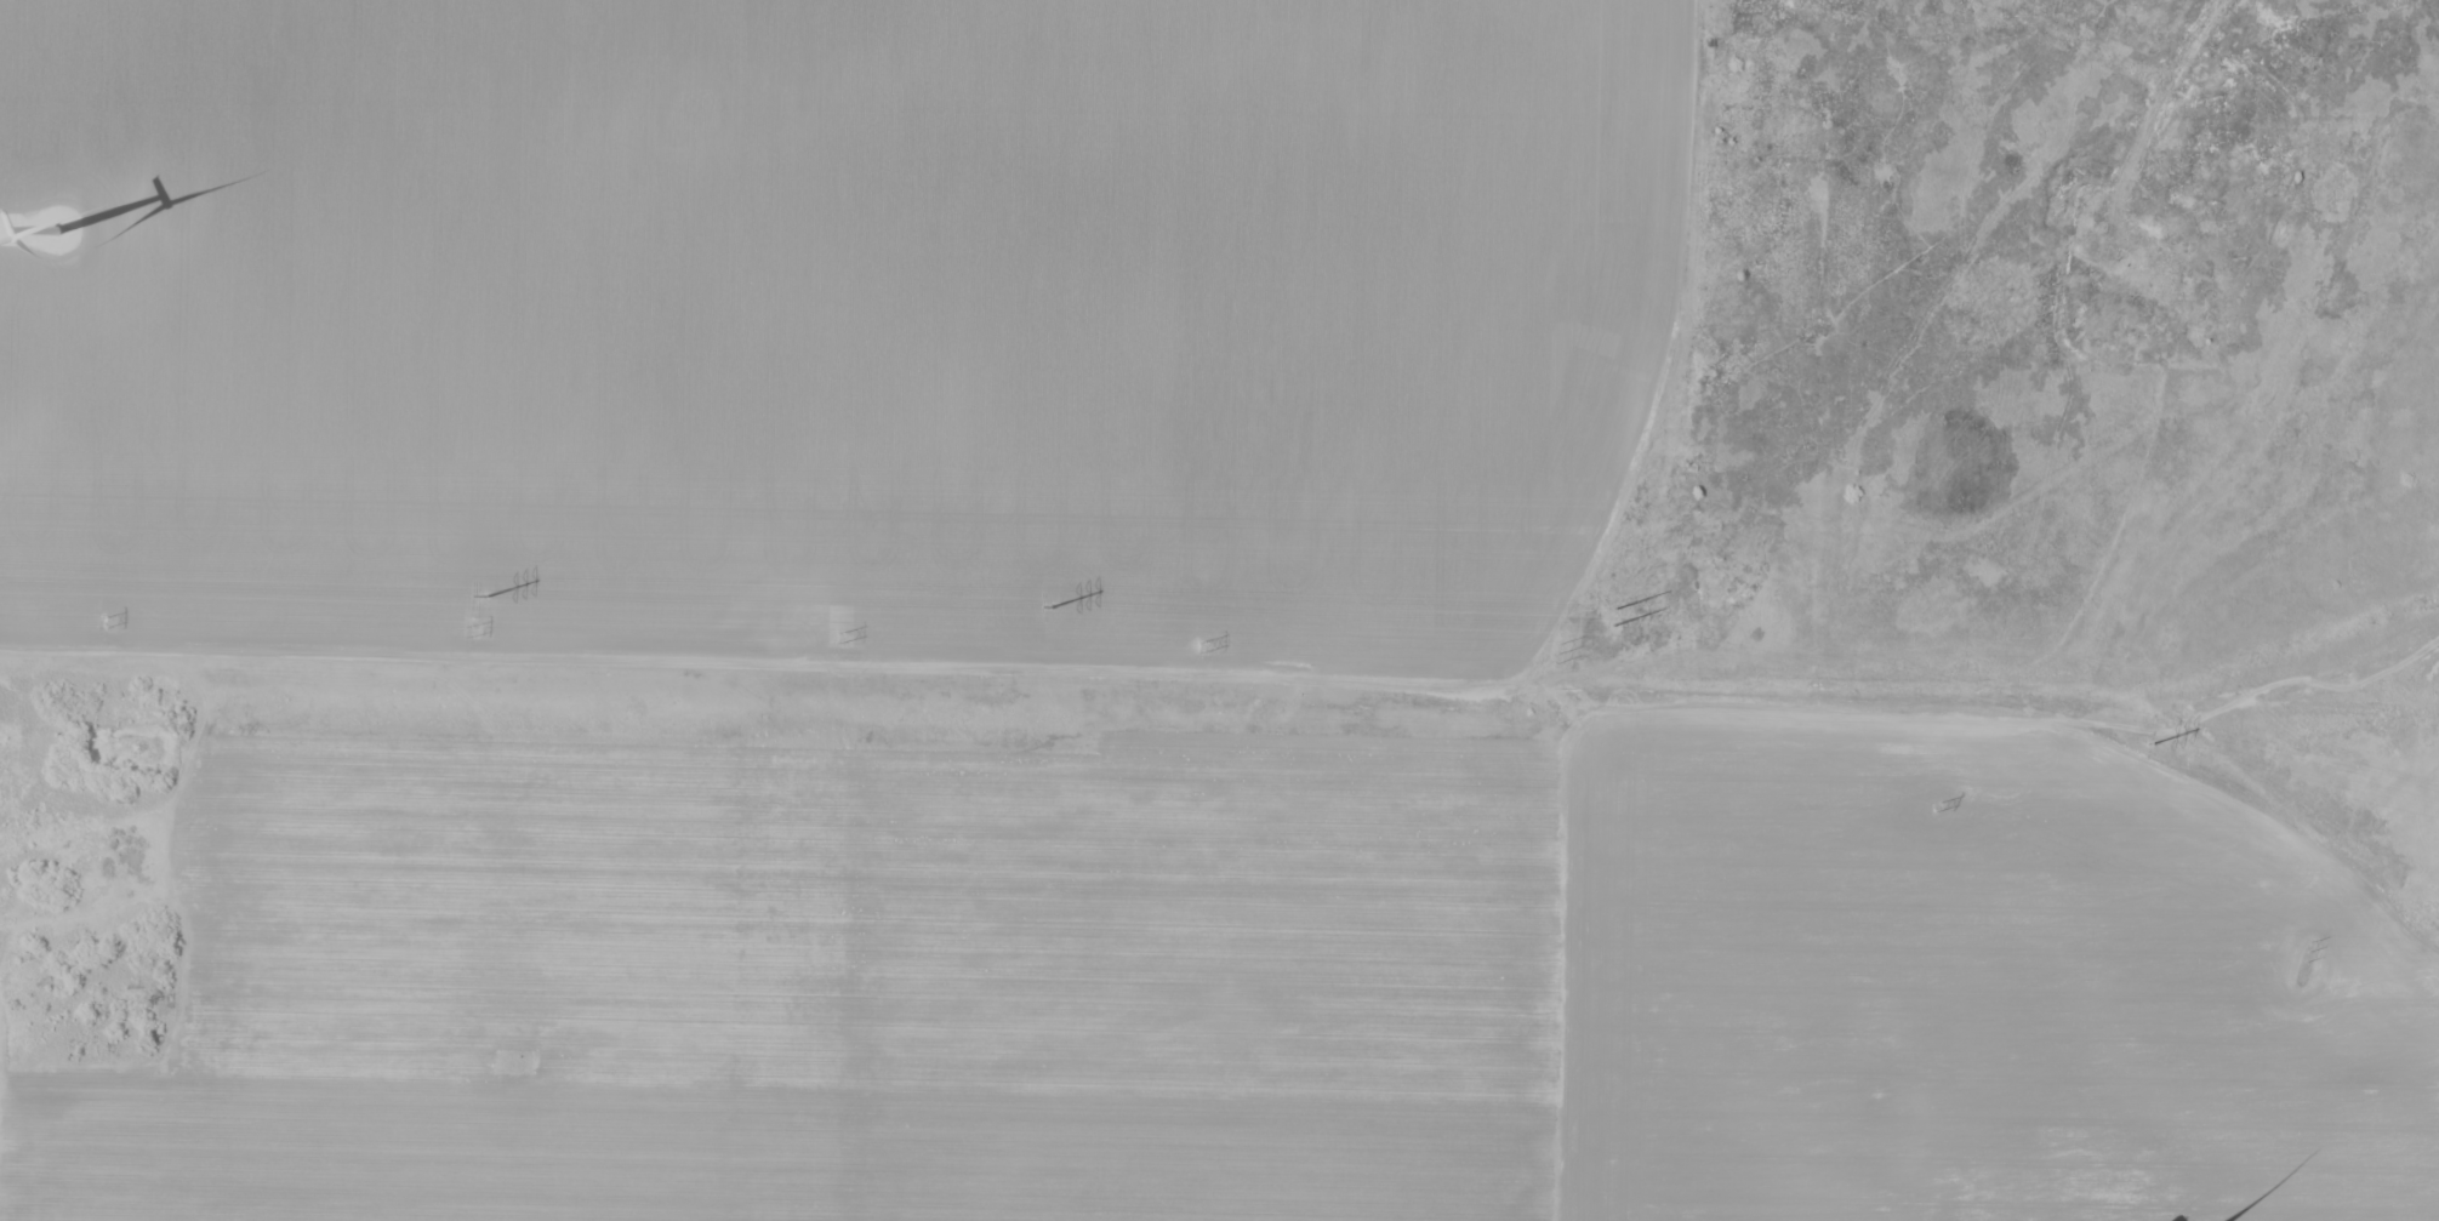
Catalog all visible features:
wind turbine: (59, 227)
road: (17, 230)
power tower: (485, 595)
power tower: (1047, 607)
power tower: (1613, 616)
power tower: (104, 623)
power tower: (474, 632)
power tower: (842, 643)
power tower: (1201, 649)
power tower: (1557, 652)
road: (1227, 686)
power tower: (2147, 742)
power tower: (1934, 806)
power tower: (2304, 955)

